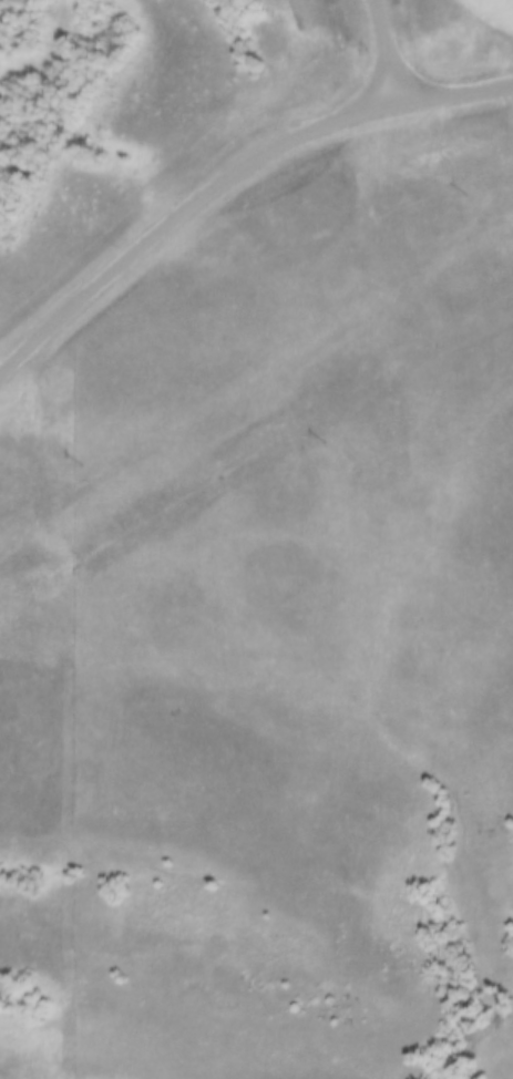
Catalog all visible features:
road: (373, 43)
road: (448, 73)
road: (168, 201)

